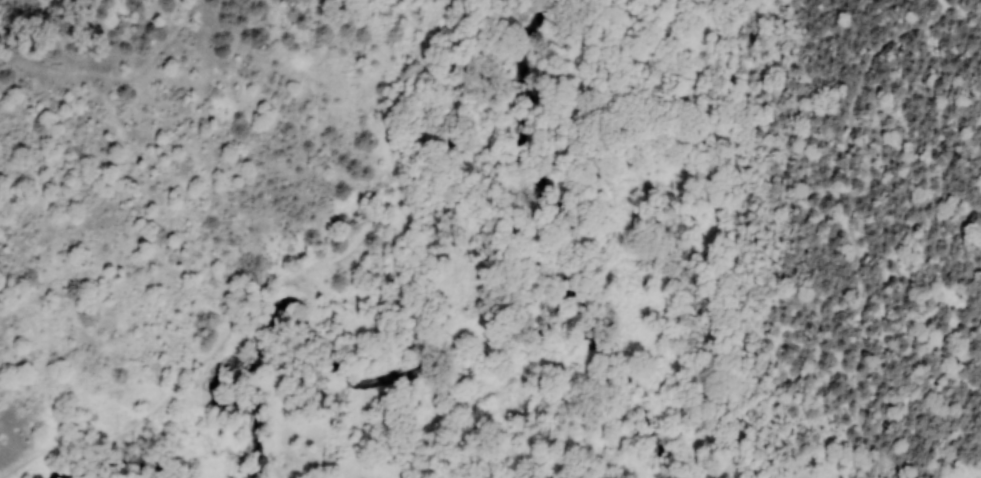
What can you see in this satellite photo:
road: (852, 220)
park: (209, 246)
road: (293, 275)

